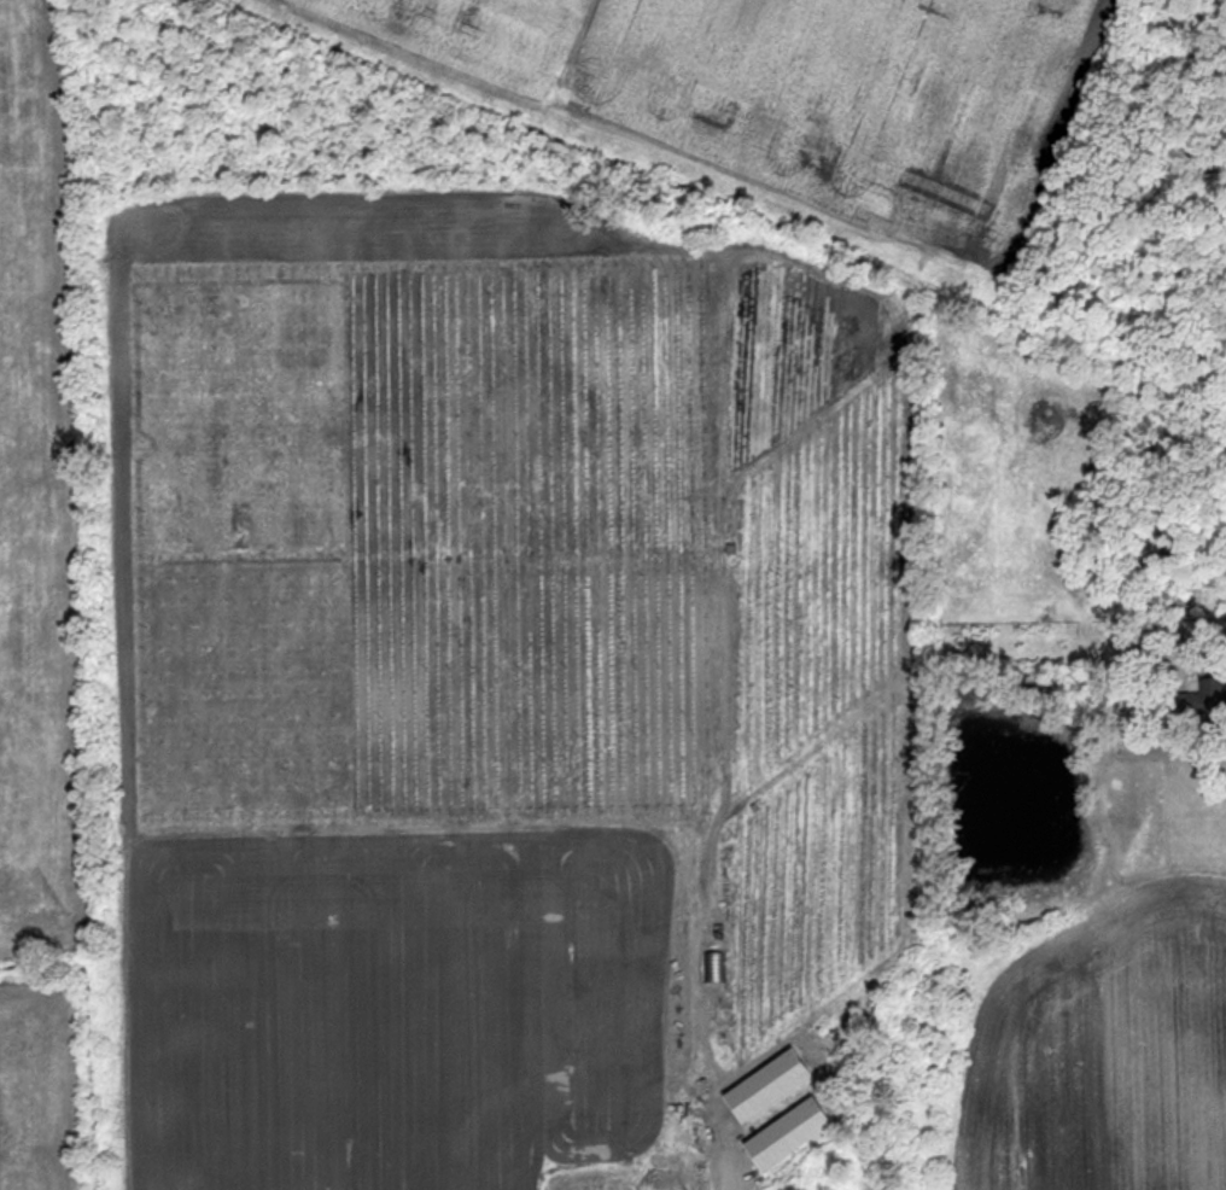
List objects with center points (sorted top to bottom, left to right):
road: (726, 1171)

